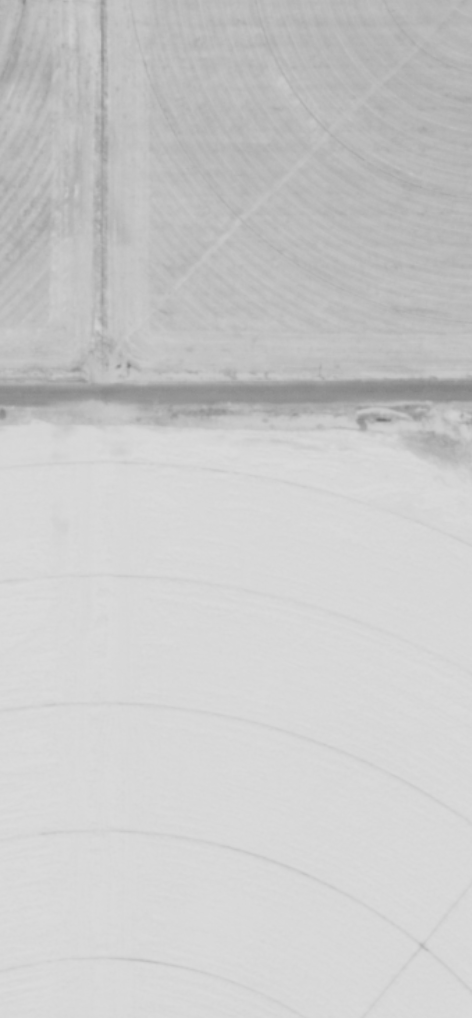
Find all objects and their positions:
road: (236, 390)

